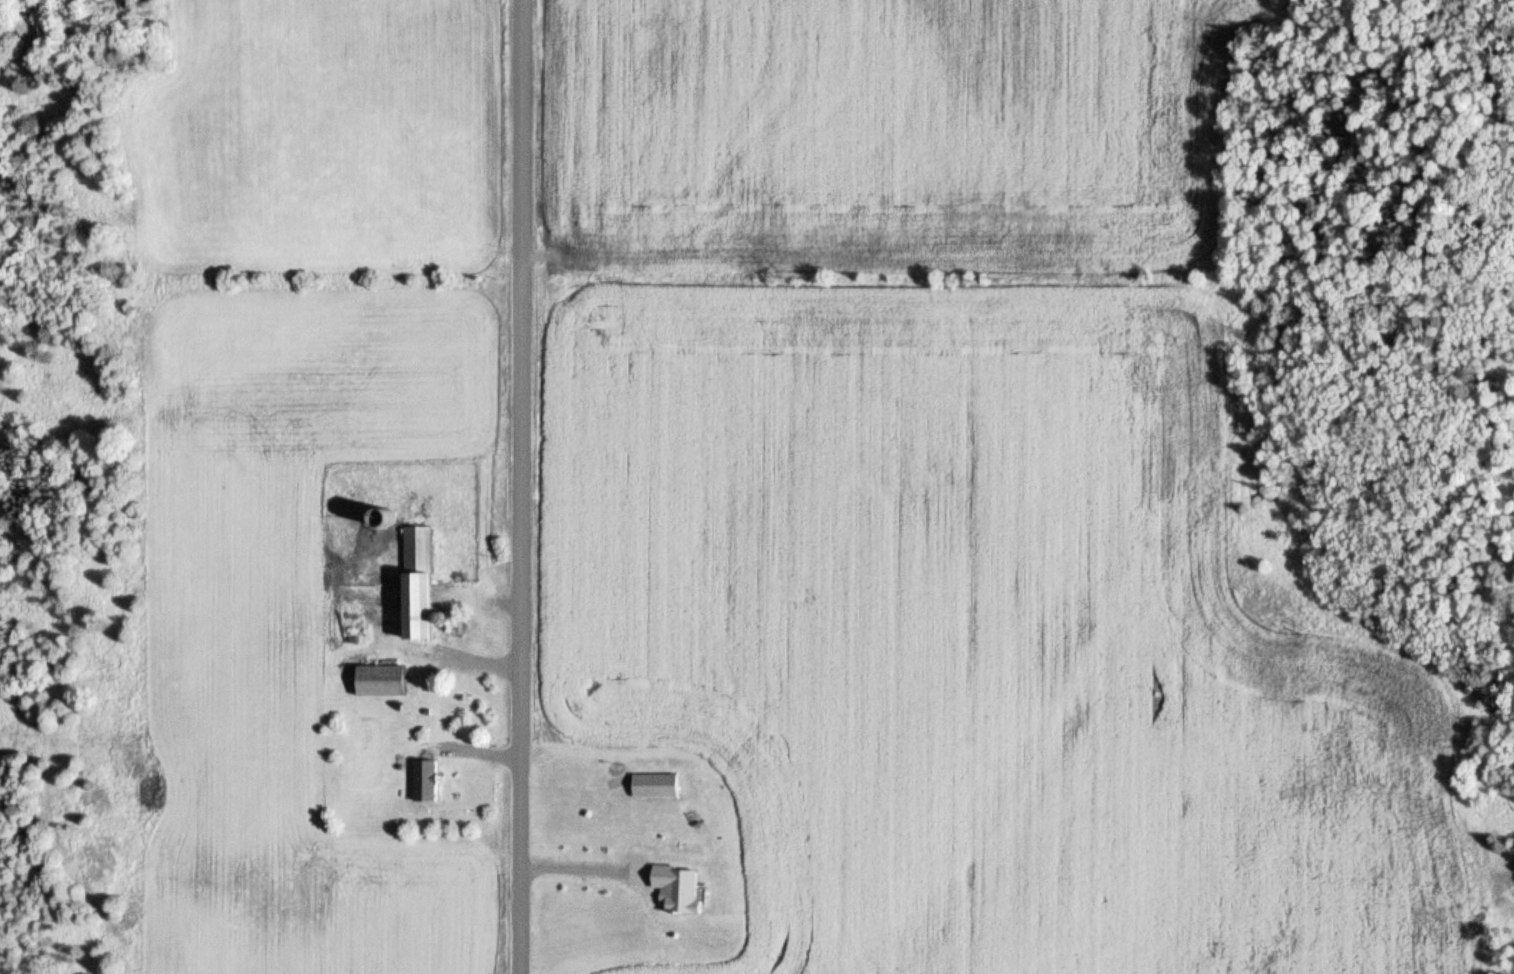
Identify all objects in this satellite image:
road: (526, 487)
building: (419, 583)
building: (383, 682)
building: (425, 782)
building: (656, 786)
building: (677, 888)

